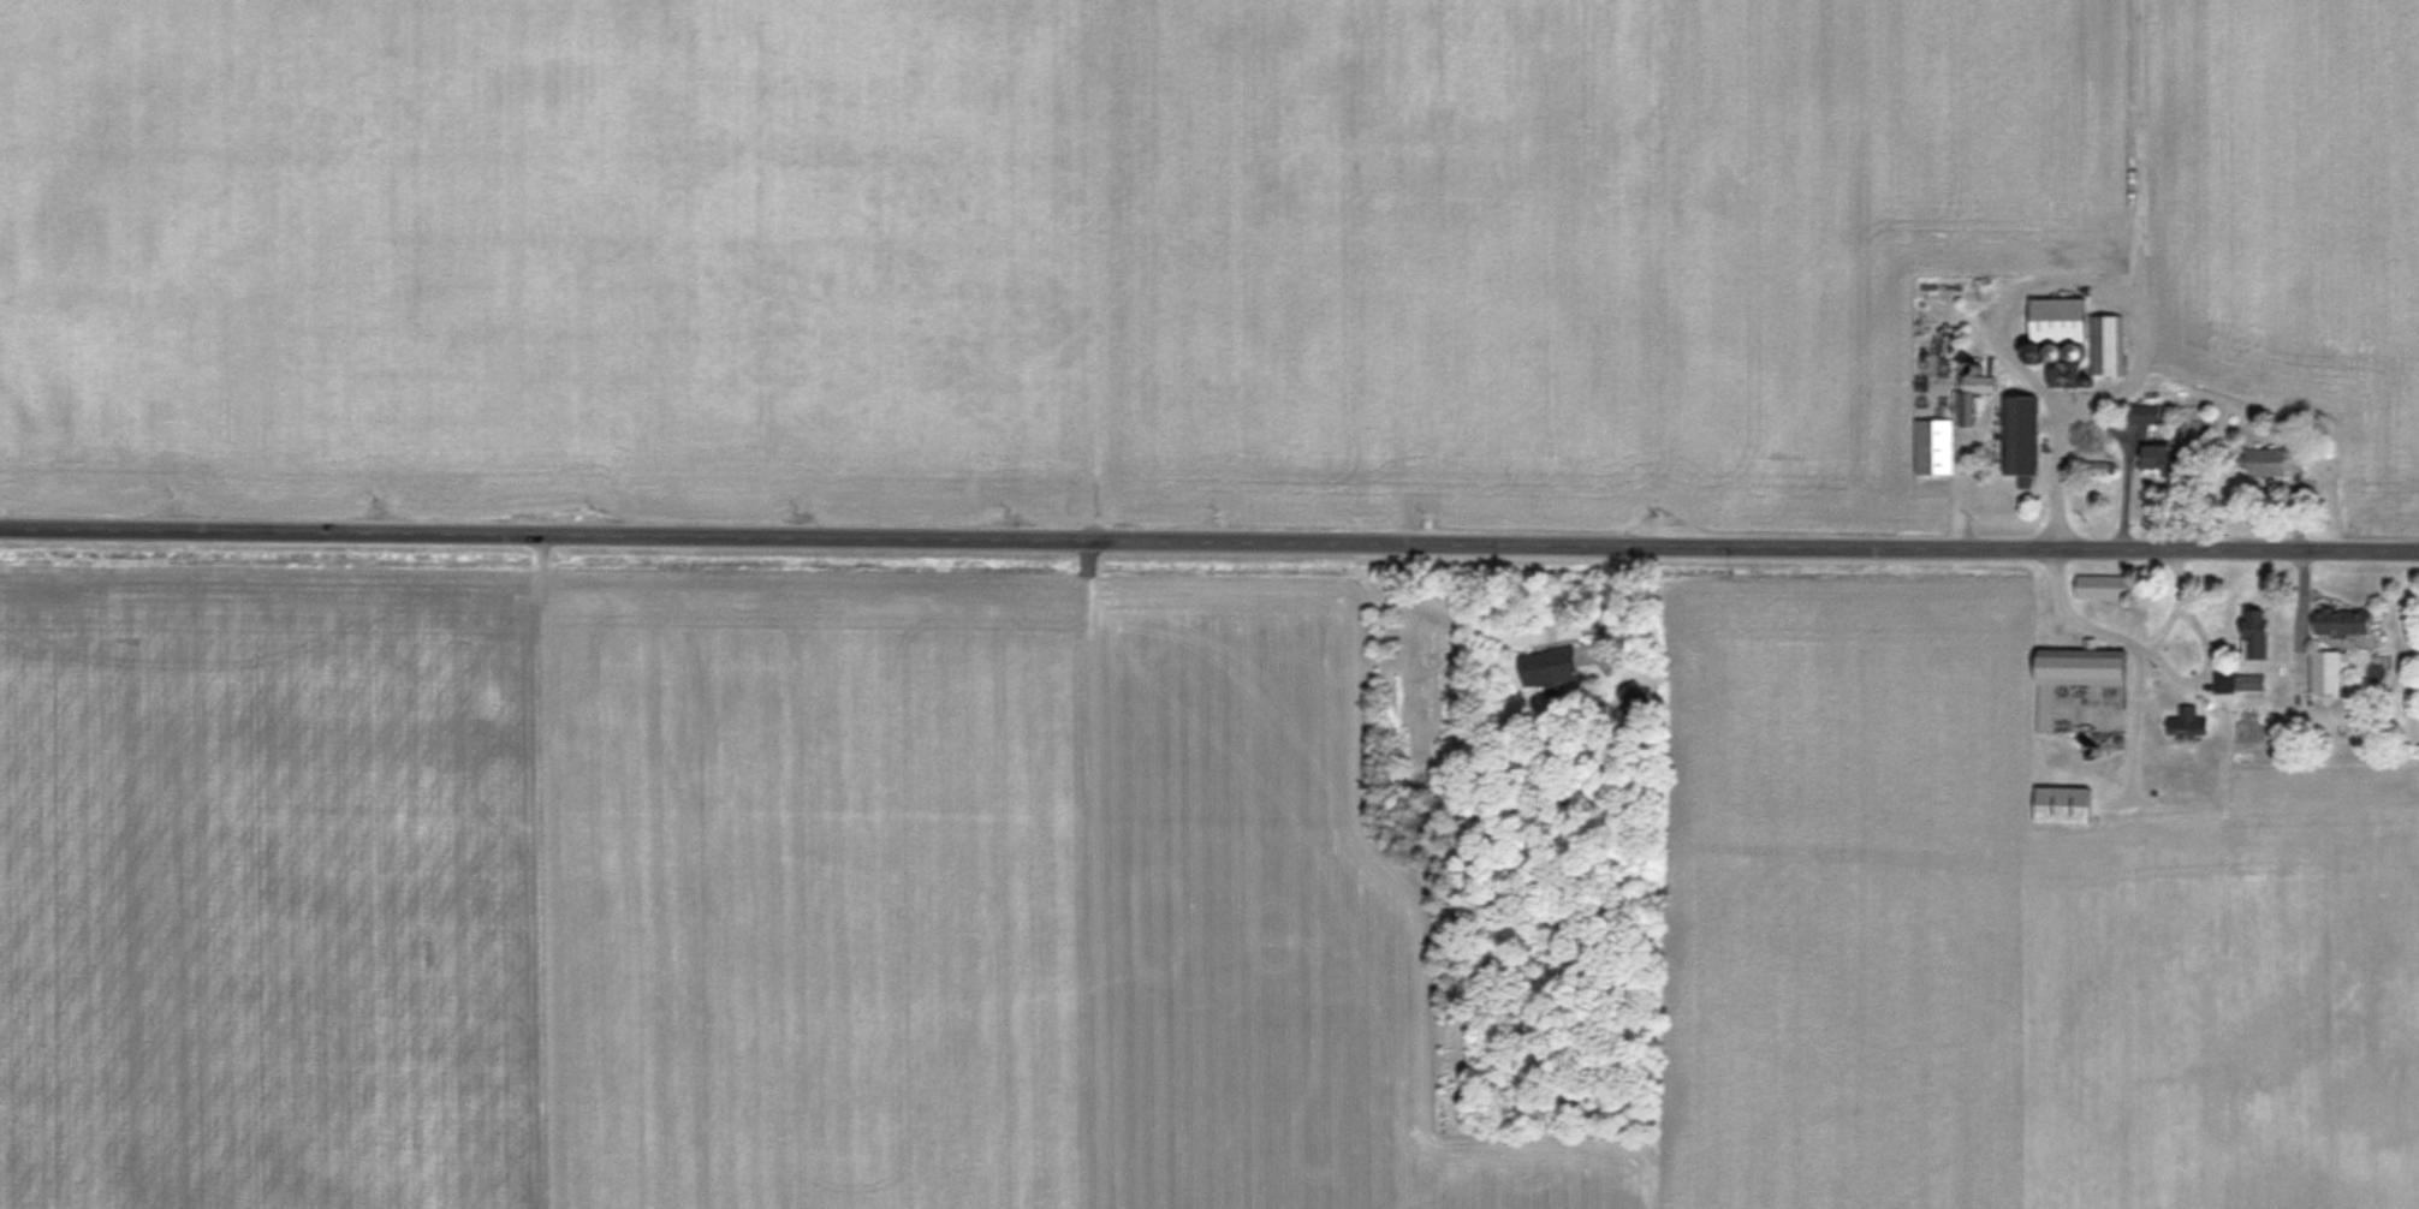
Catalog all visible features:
building: (2078, 330)
building: (2141, 415)
building: (2019, 435)
building: (1931, 446)
building: (2150, 454)
building: (2274, 460)
road: (1208, 544)
building: (2093, 585)
building: (2340, 621)
building: (2253, 641)
building: (2322, 671)
building: (2074, 673)
building: (2240, 681)
building: (2186, 721)
building: (2058, 805)

